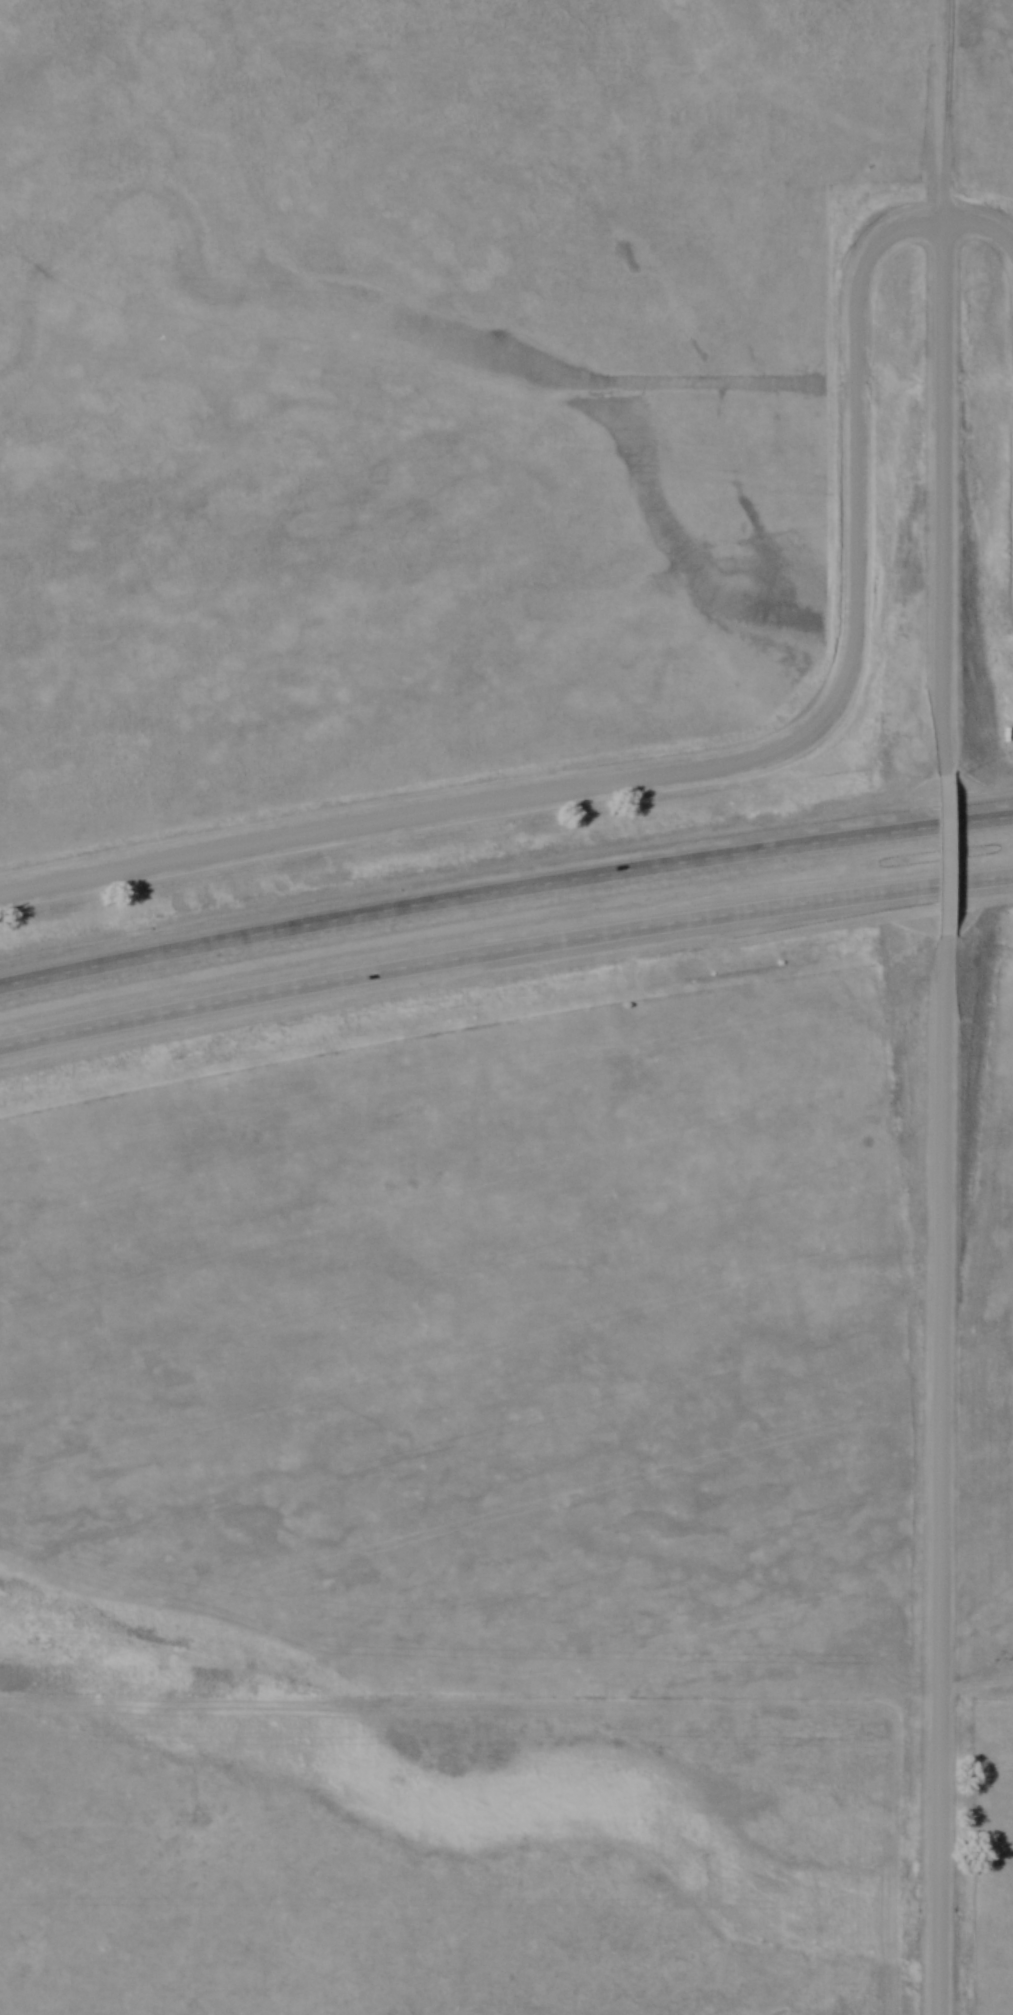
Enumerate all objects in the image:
road: (941, 494)
road: (734, 770)
road: (941, 852)
road: (504, 887)
road: (504, 949)
road: (939, 1475)

